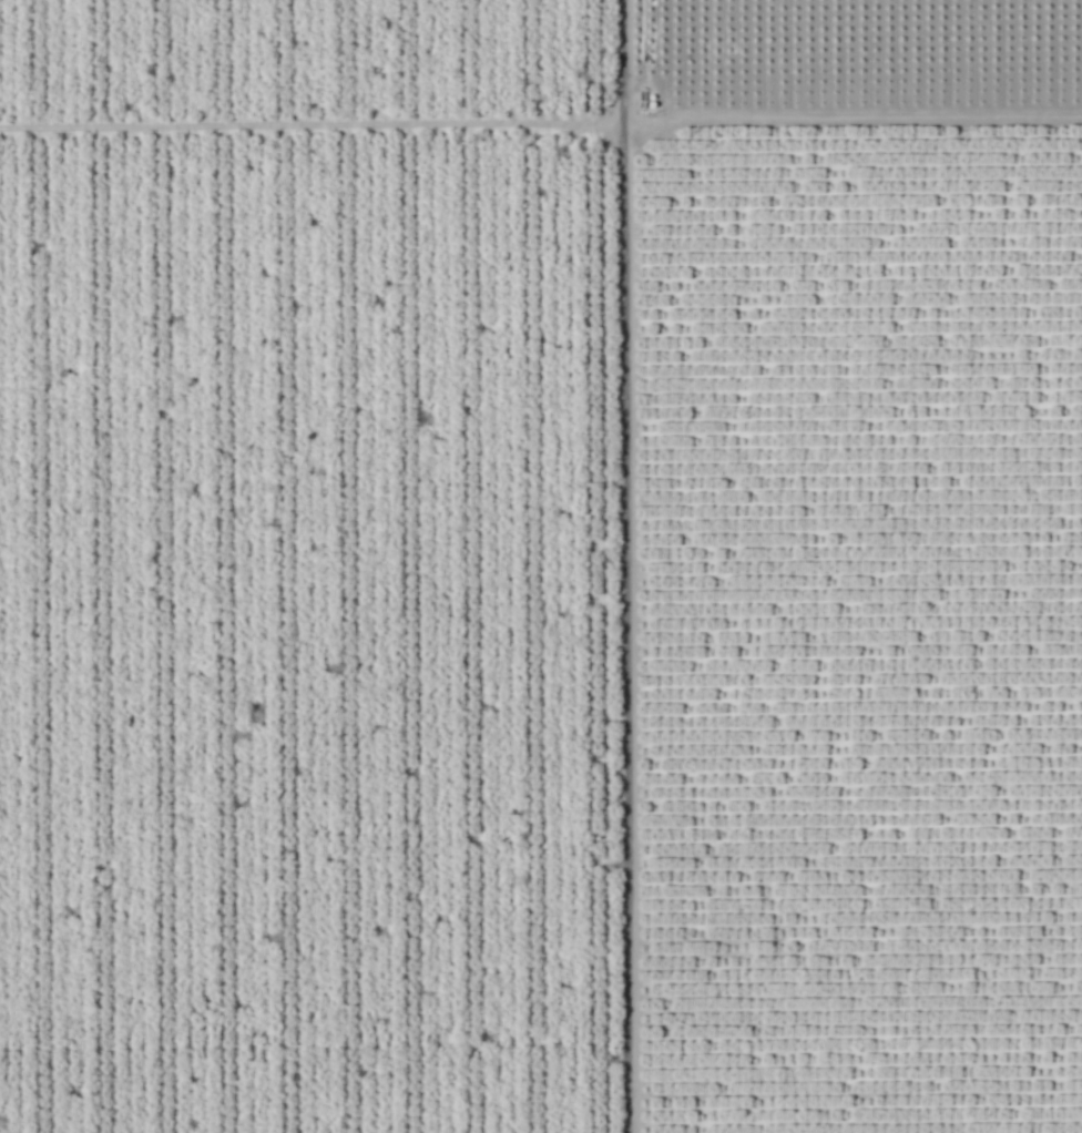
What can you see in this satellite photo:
road: (634, 566)

